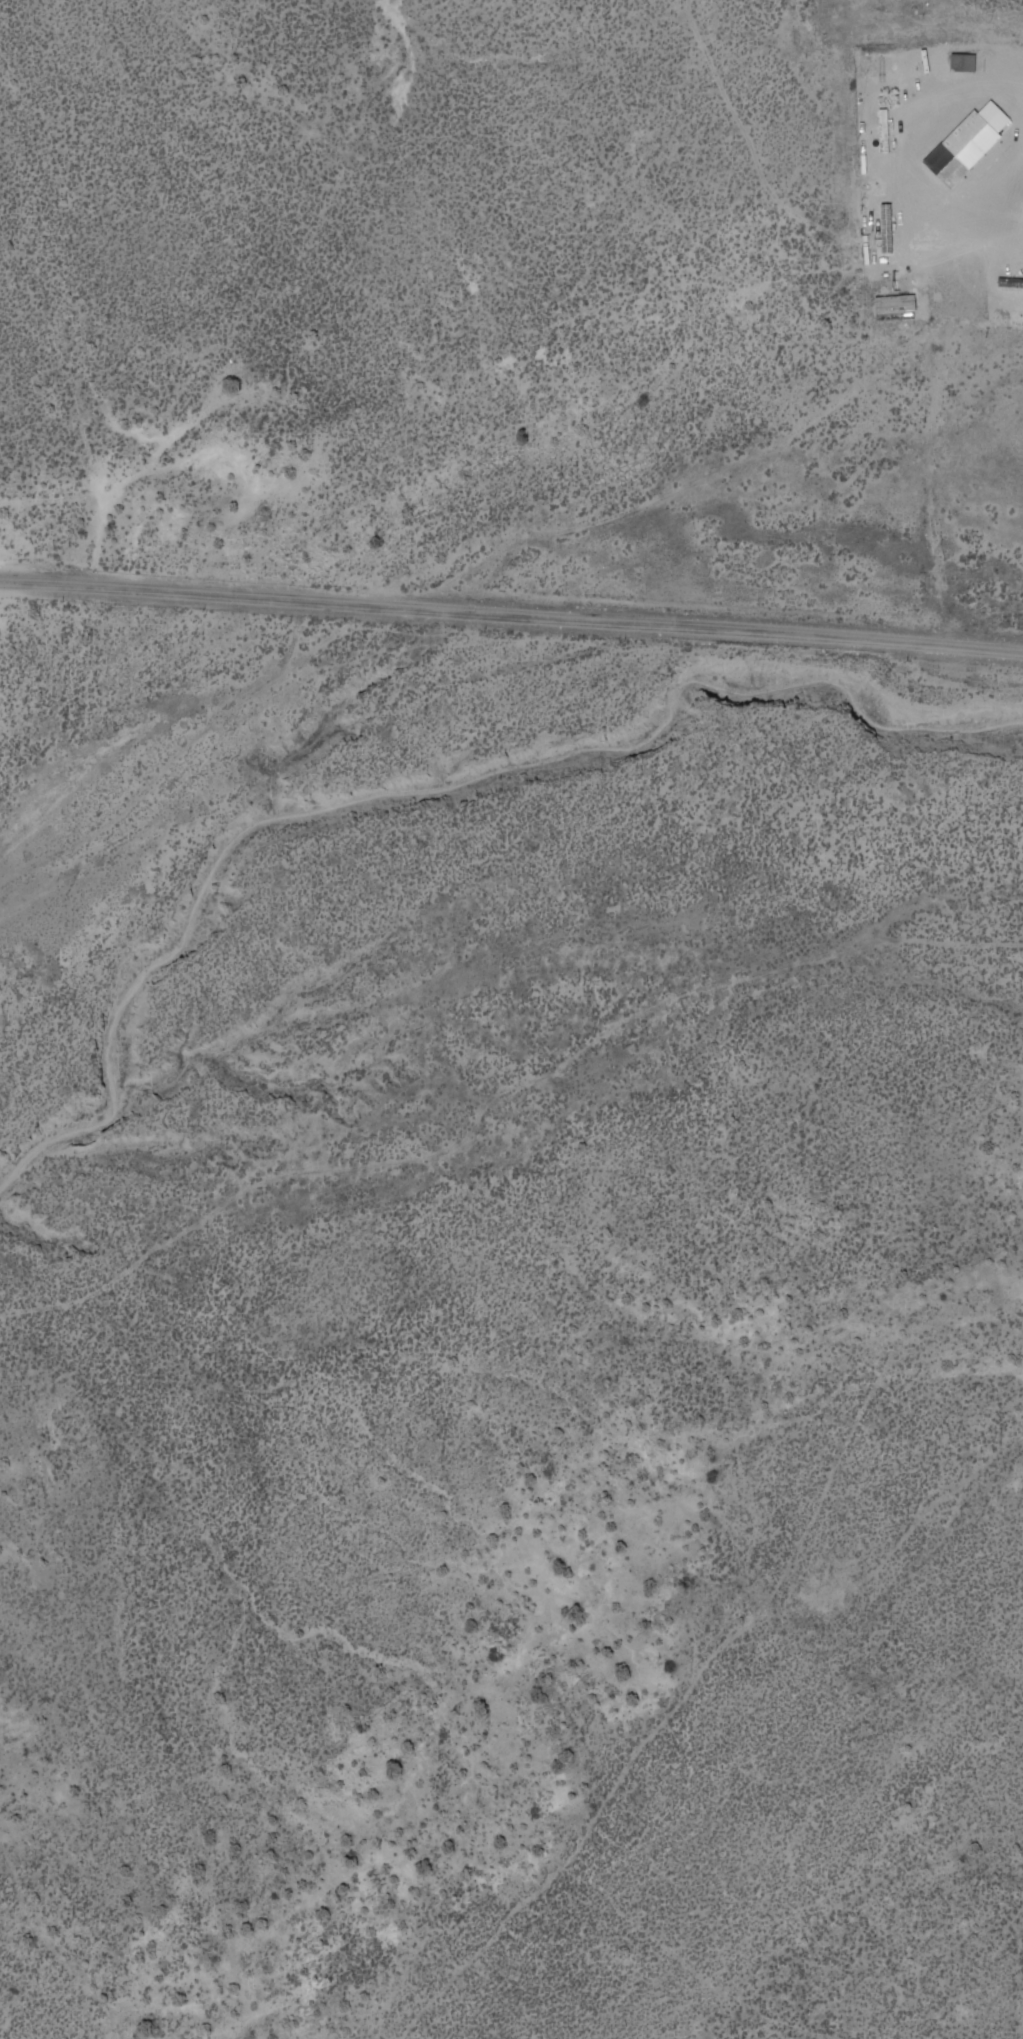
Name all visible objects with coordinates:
road: (1011, 59)
building: (964, 62)
building: (978, 134)
building: (894, 306)
road: (511, 612)

